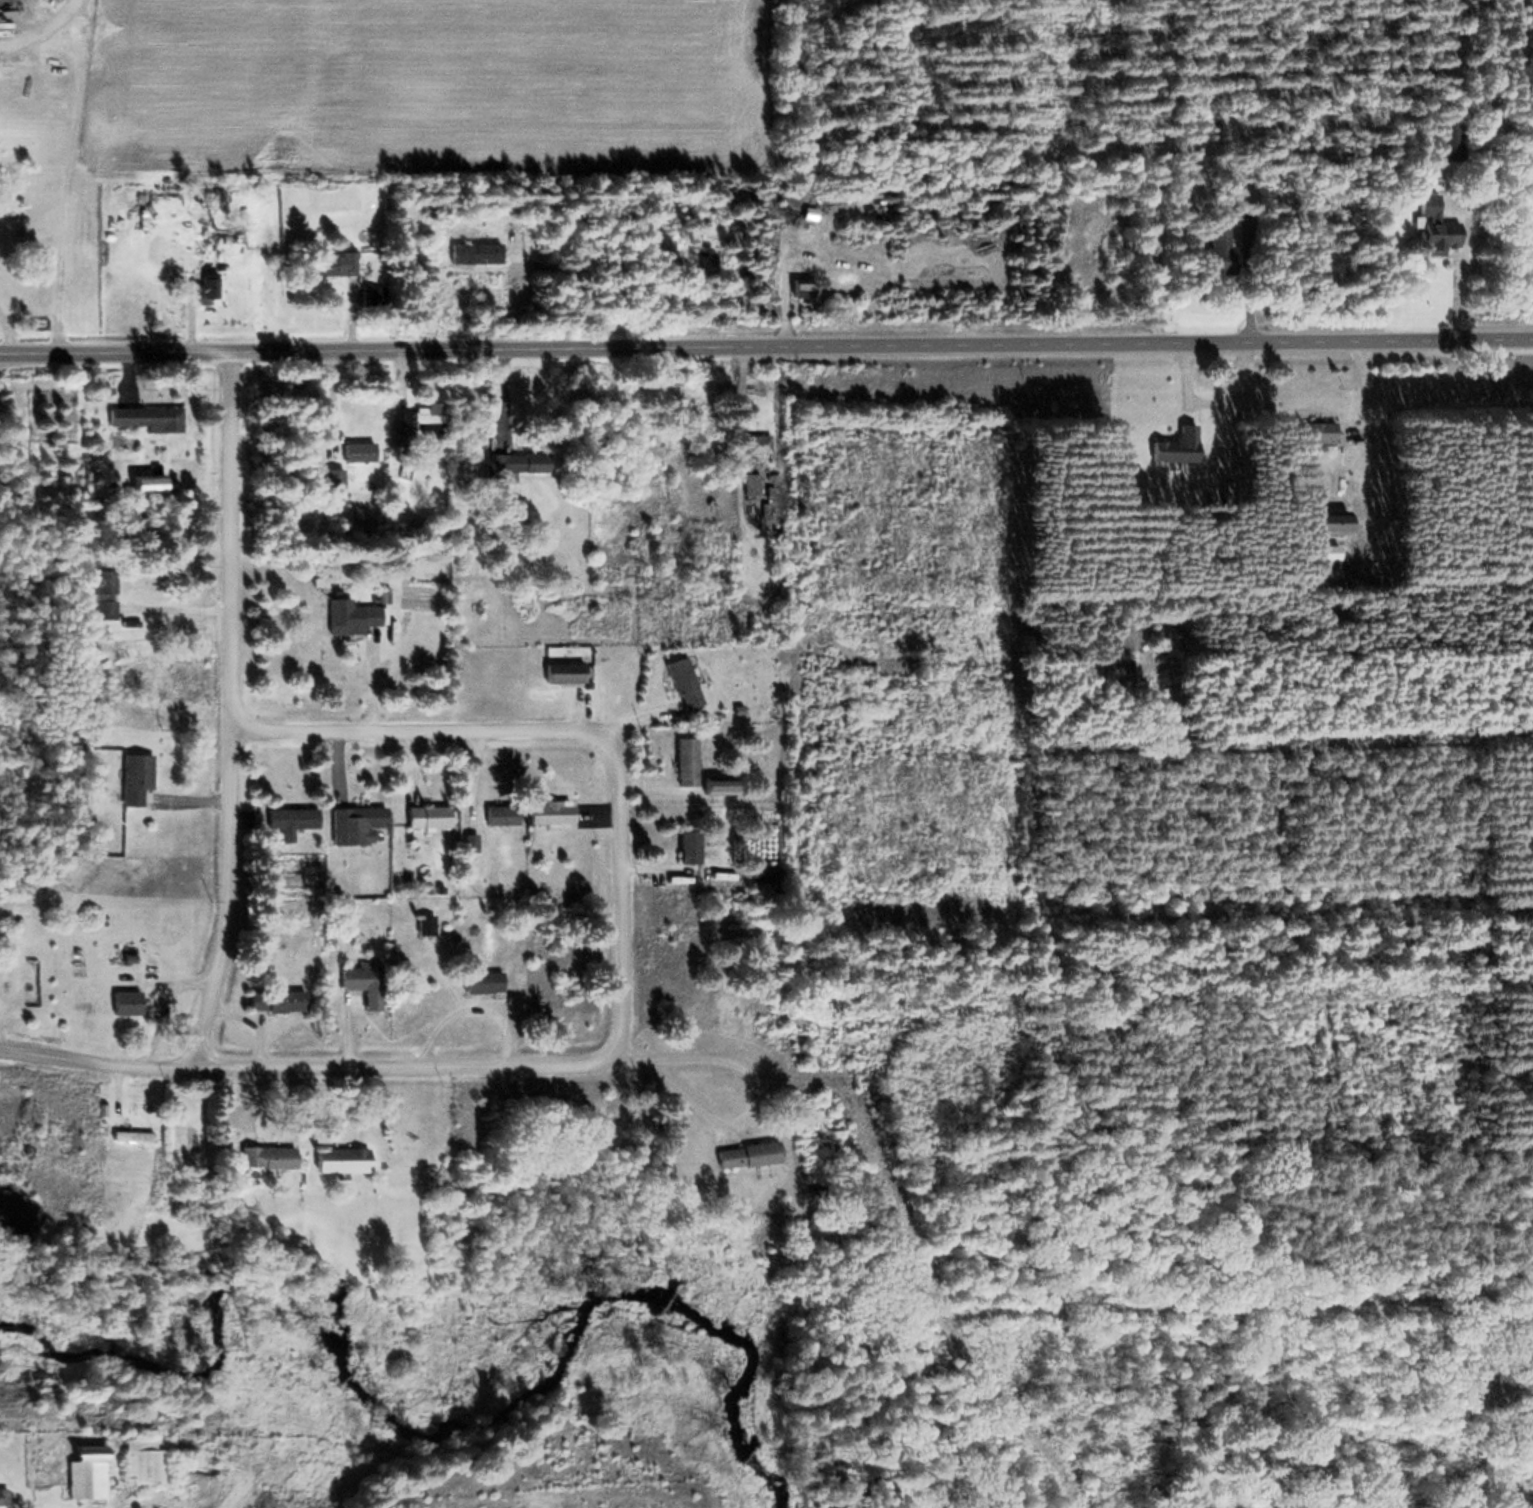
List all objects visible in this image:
road: (39, 21)
building: (1450, 152)
road: (71, 170)
building: (1435, 226)
building: (480, 242)
building: (1220, 247)
building: (340, 255)
building: (476, 255)
building: (335, 266)
building: (211, 276)
building: (803, 290)
road: (790, 291)
road: (1464, 291)
building: (368, 297)
road: (12, 320)
road: (197, 320)
road: (357, 324)
road: (766, 339)
road: (1193, 364)
road: (1373, 392)
building: (148, 411)
building: (426, 420)
building: (1321, 422)
building: (1318, 435)
building: (1178, 437)
building: (399, 438)
building: (361, 441)
building: (756, 445)
building: (359, 453)
building: (506, 467)
building: (337, 469)
building: (151, 474)
building: (334, 479)
building: (663, 490)
building: (1335, 513)
building: (105, 597)
road: (193, 599)
building: (355, 607)
building: (569, 663)
building: (1124, 673)
building: (565, 674)
building: (685, 674)
road: (380, 679)
road: (233, 703)
road: (583, 709)
road: (637, 711)
road: (430, 722)
building: (687, 752)
road: (343, 756)
road: (417, 756)
road: (482, 758)
building: (142, 767)
building: (721, 775)
road: (199, 791)
building: (550, 802)
building: (504, 805)
building: (429, 806)
building: (294, 810)
building: (359, 813)
building: (551, 813)
building: (501, 816)
building: (429, 819)
building: (292, 822)
building: (474, 832)
building: (689, 849)
road: (623, 896)
building: (428, 914)
building: (482, 971)
building: (367, 975)
road: (191, 978)
building: (483, 984)
building: (130, 991)
building: (277, 992)
building: (127, 1004)
road: (255, 1014)
road: (2, 1022)
road: (512, 1024)
road: (353, 1028)
road: (309, 1057)
road: (121, 1081)
road: (759, 1084)
road: (358, 1093)
road: (248, 1094)
building: (135, 1128)
building: (133, 1137)
building: (752, 1144)
building: (269, 1146)
building: (343, 1150)
building: (749, 1157)
building: (269, 1160)
building: (143, 1451)
building: (87, 1466)
building: (5, 1489)
building: (3, 1499)

